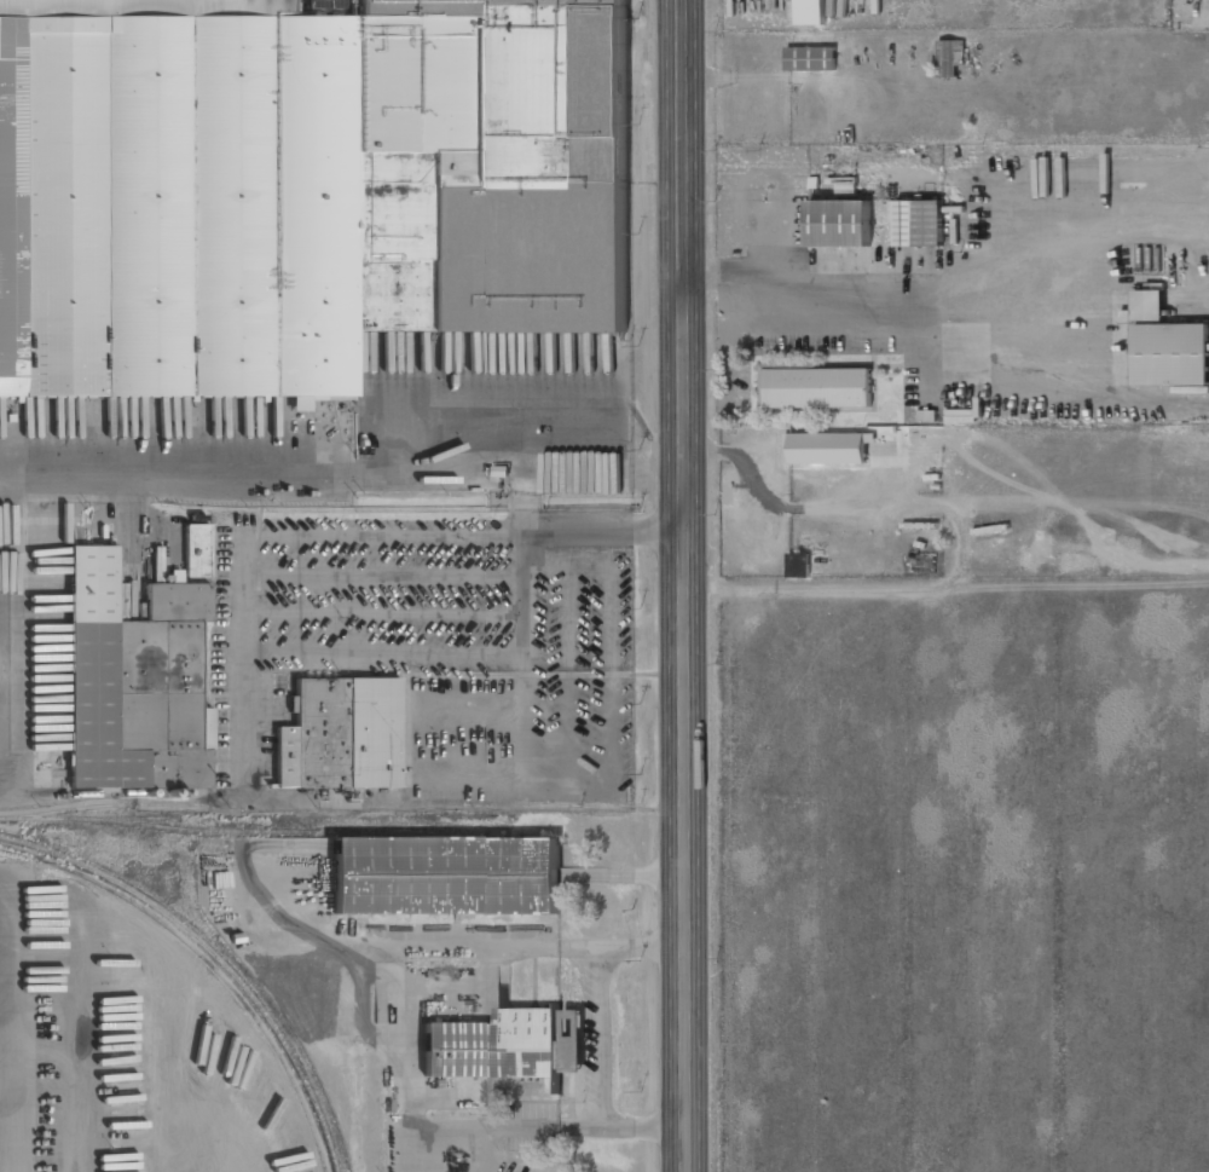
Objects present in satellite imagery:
building: (811, 12)
building: (950, 57)
building: (810, 58)
building: (840, 223)
building: (920, 223)
building: (1149, 305)
building: (1172, 353)
building: (816, 386)
building: (826, 449)
road: (722, 450)
building: (196, 552)
building: (799, 564)
road: (683, 585)
building: (131, 676)
building: (341, 735)
railway: (97, 806)
railway: (127, 818)
railway: (268, 831)
building: (445, 874)
railway: (215, 957)
road: (12, 1033)
building: (507, 1045)

